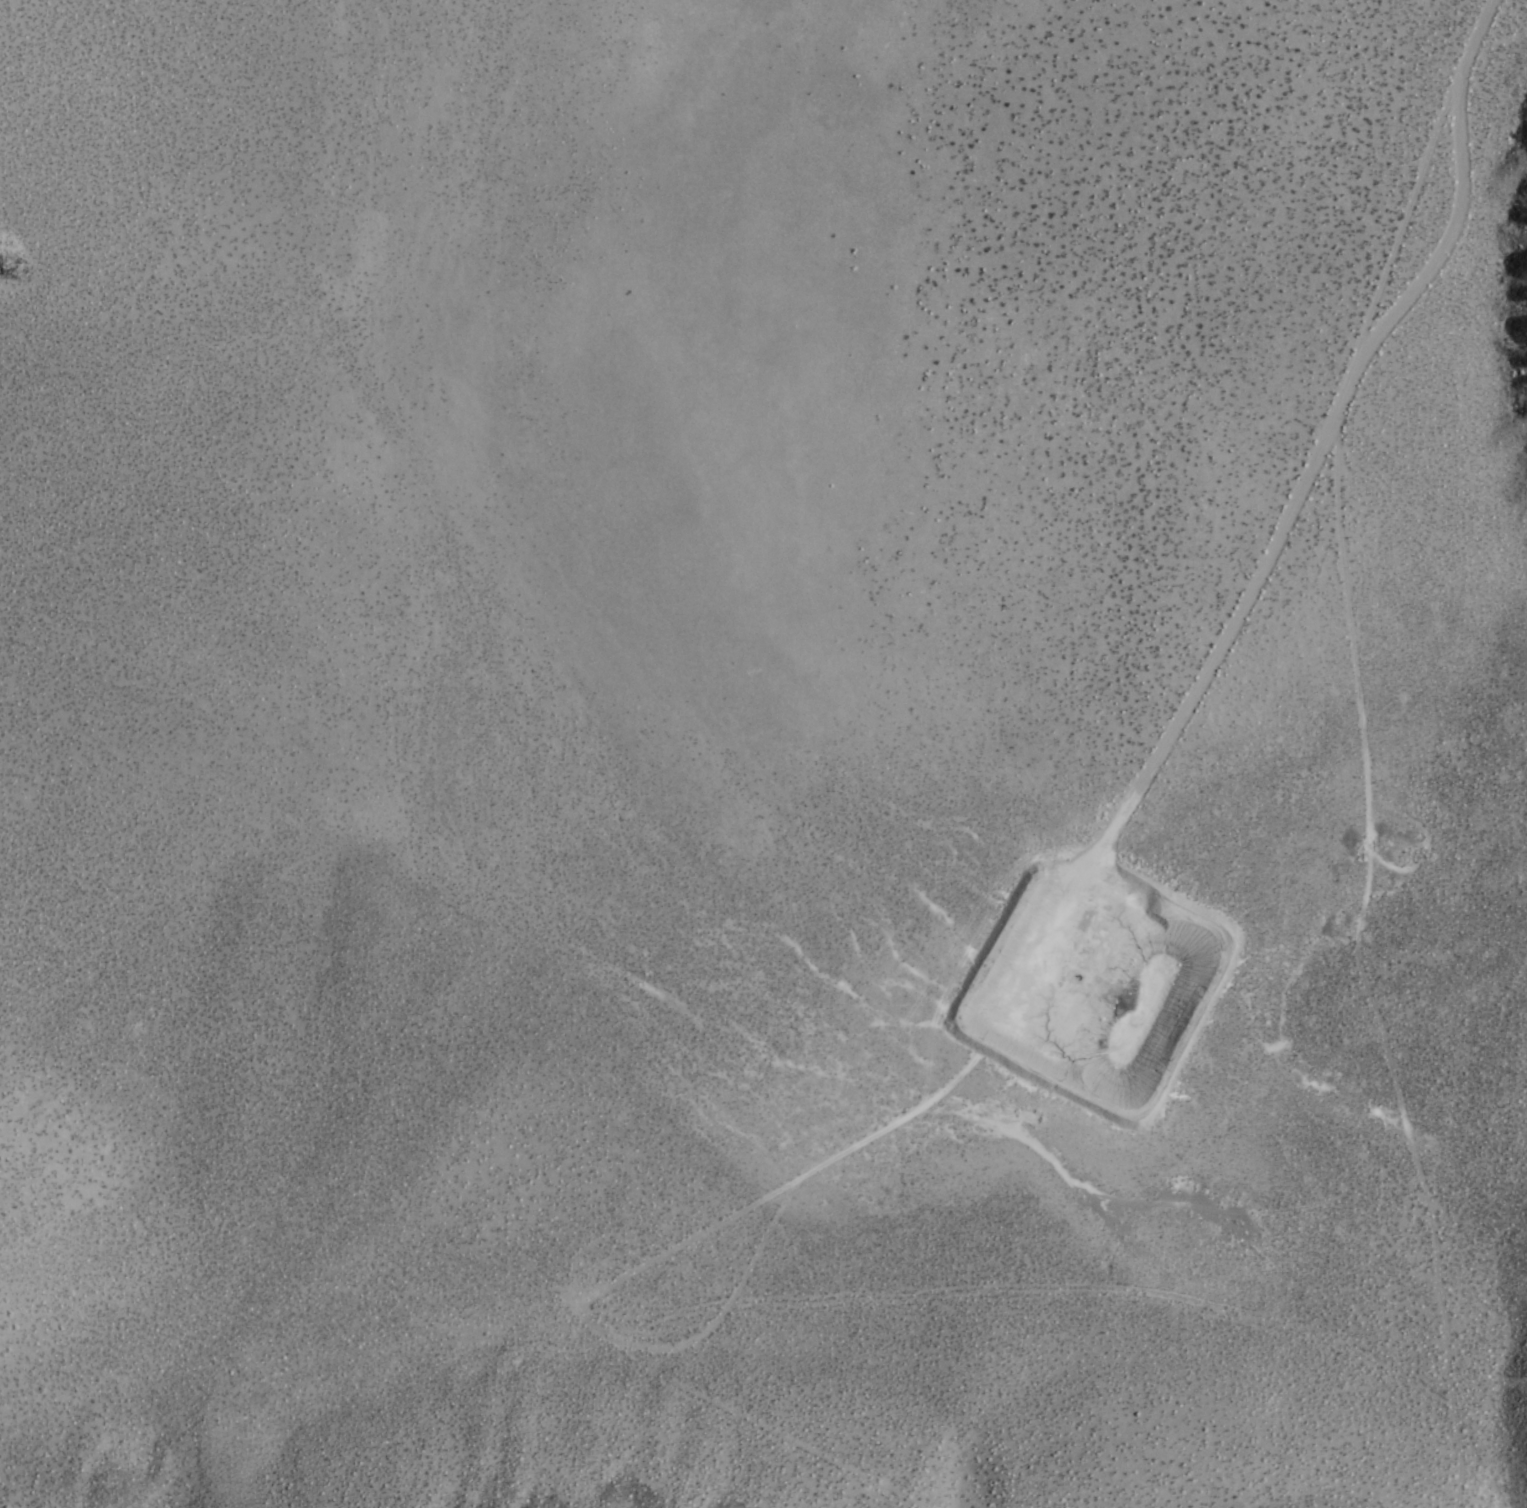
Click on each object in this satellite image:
road: (1324, 442)

